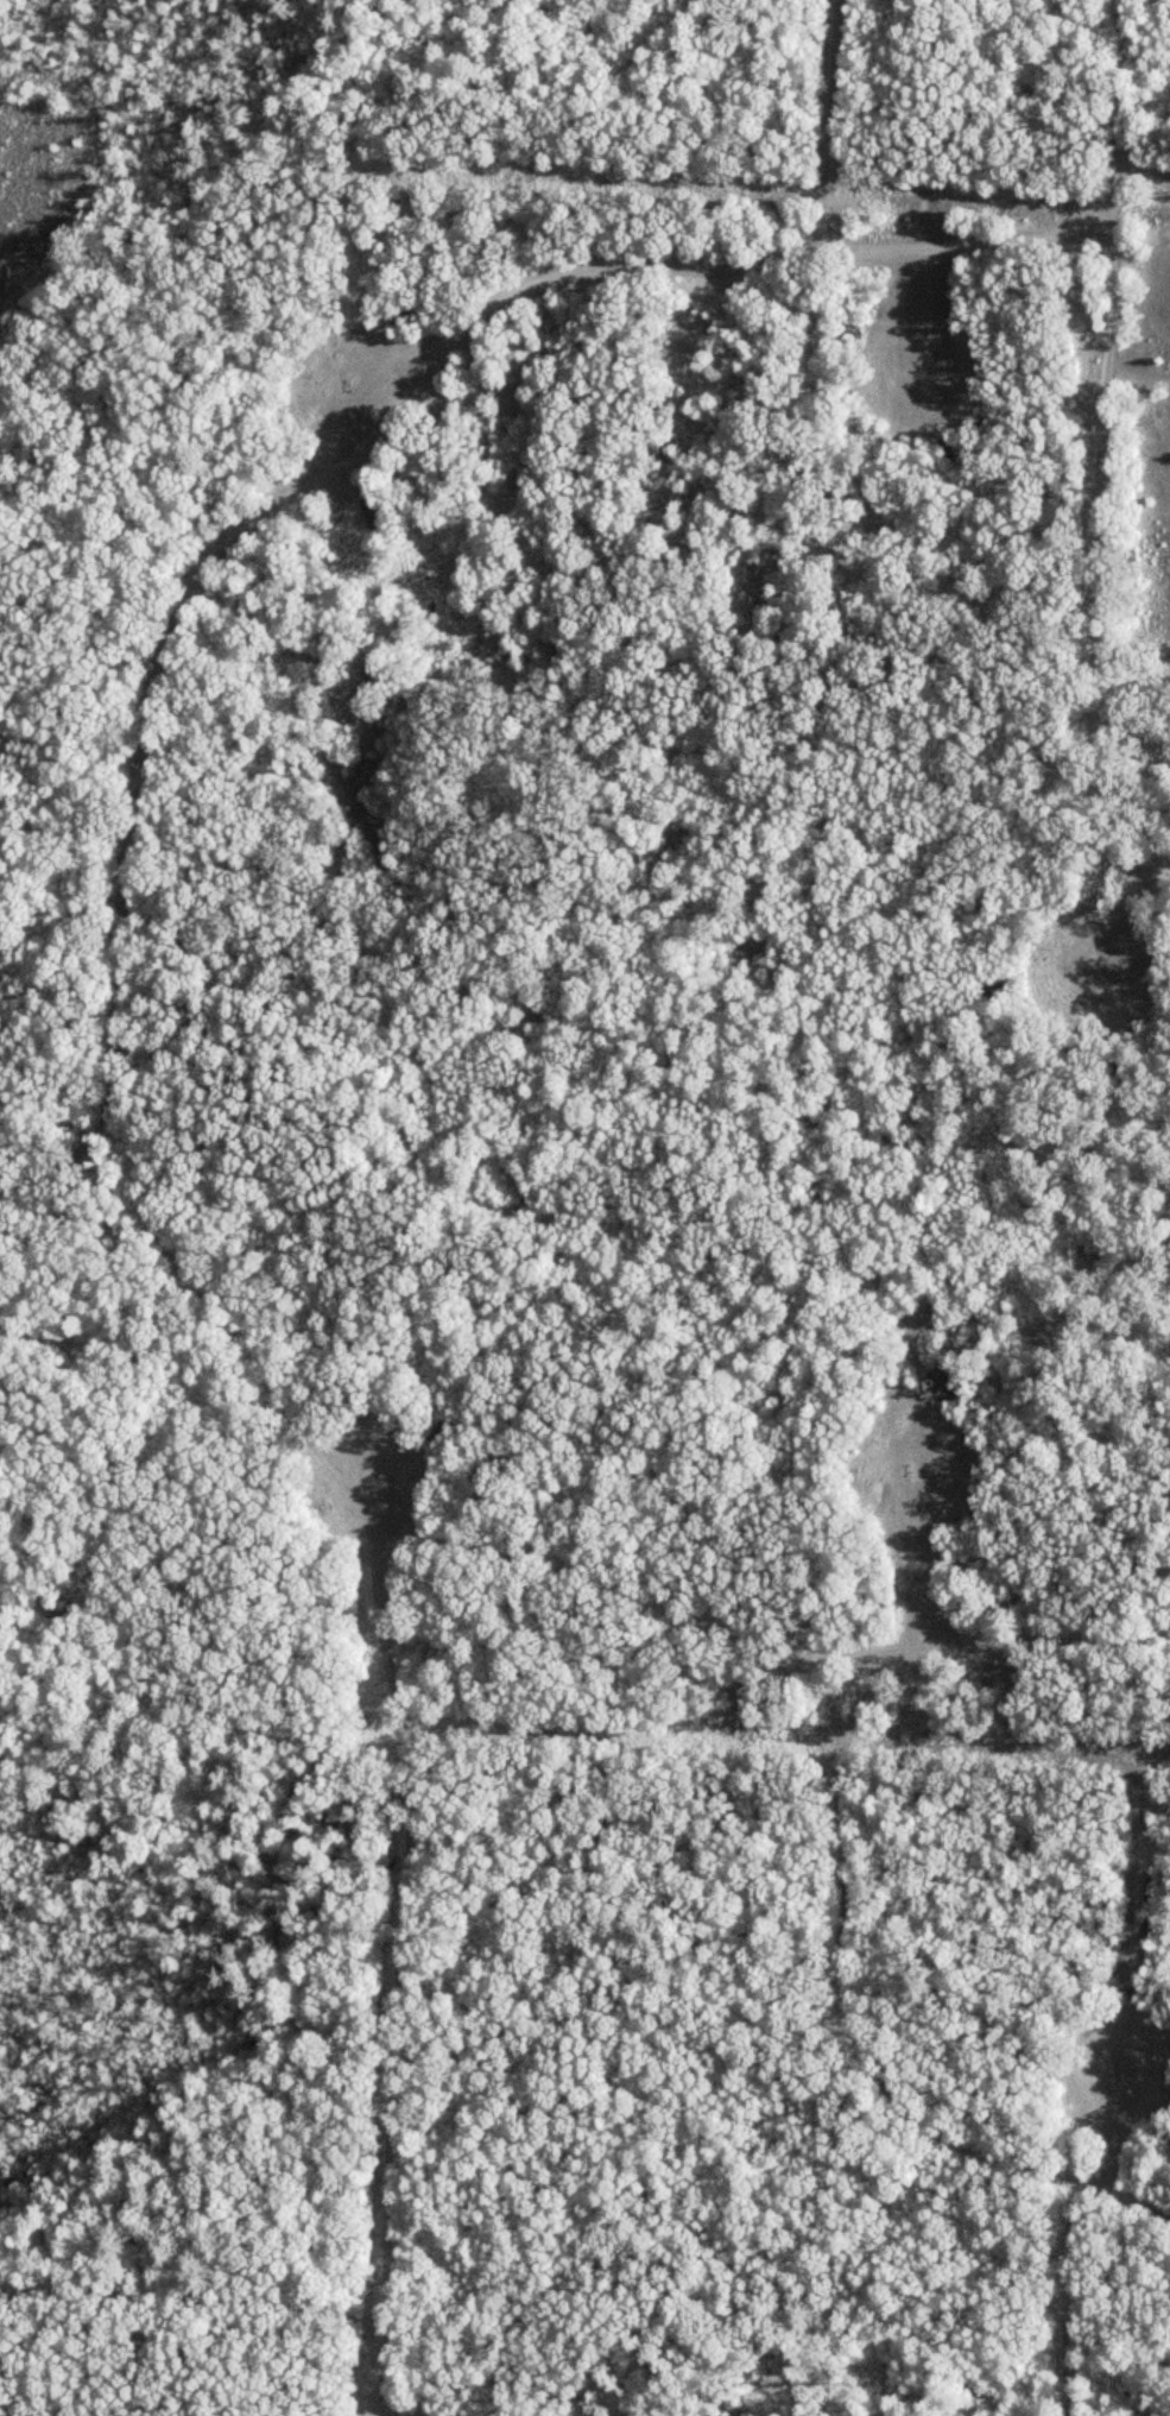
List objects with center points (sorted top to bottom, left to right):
road: (828, 125)
road: (1151, 163)
building: (1159, 335)
building: (1145, 367)
road: (1093, 439)
road: (62, 1156)
road: (135, 1184)
road: (993, 1657)
road: (872, 1659)
road: (217, 2298)

